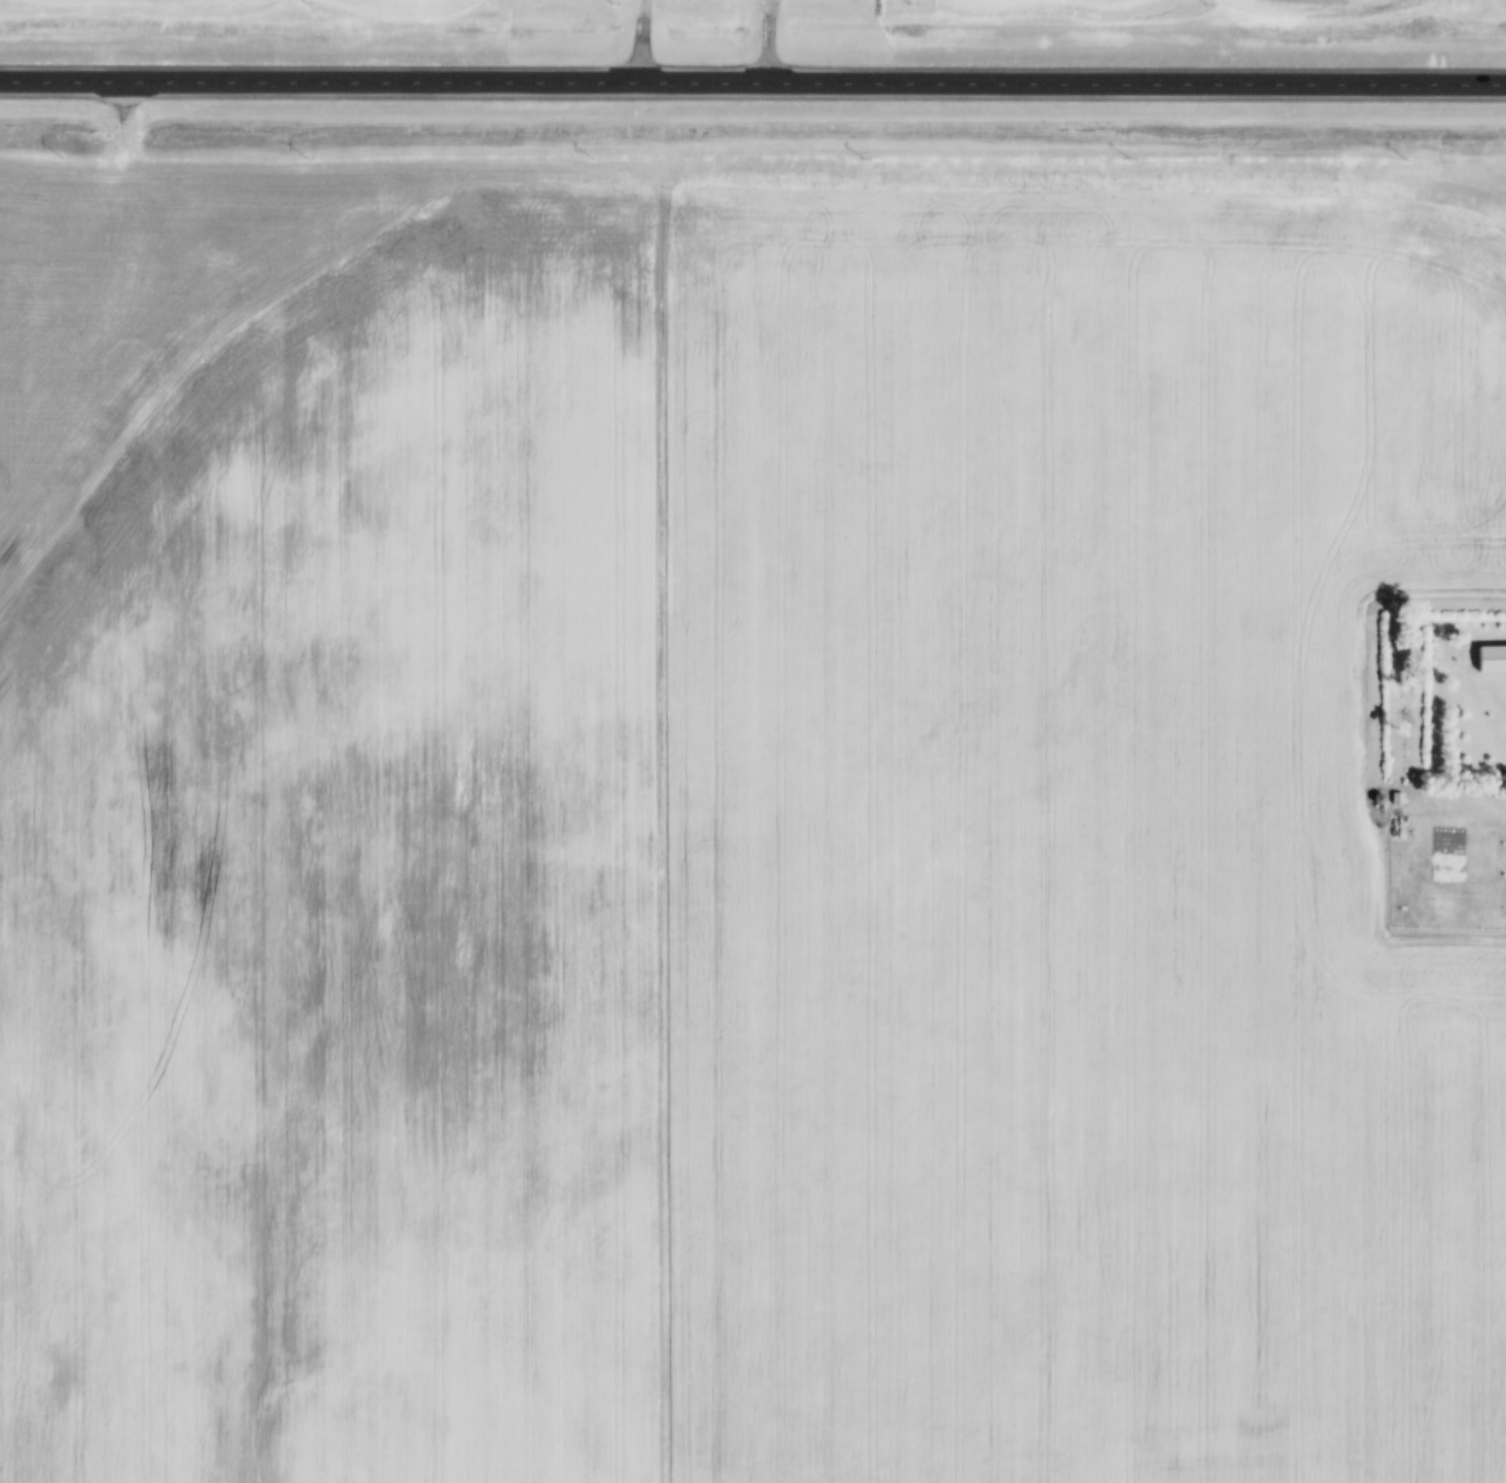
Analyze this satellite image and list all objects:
road: (639, 42)
road: (753, 84)

